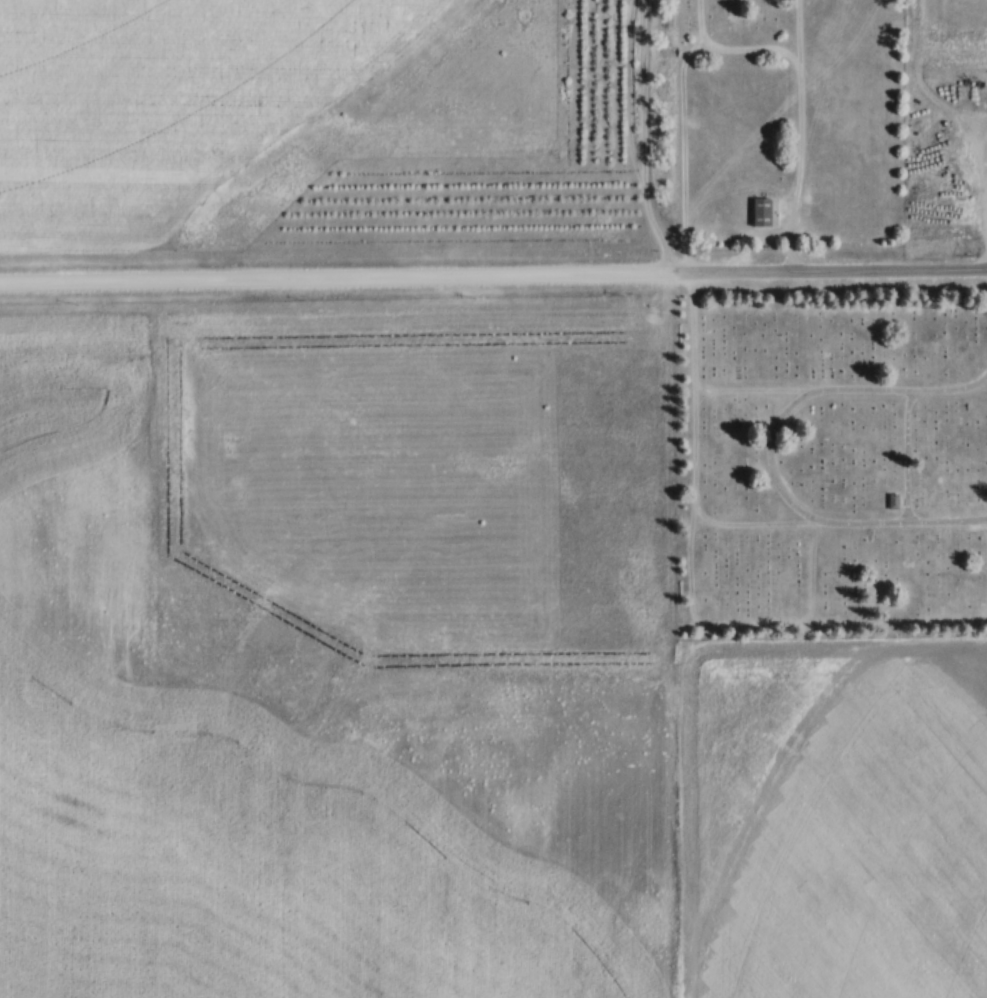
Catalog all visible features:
road: (767, 49)
road: (801, 167)
building: (760, 214)
road: (493, 273)
road: (772, 451)

